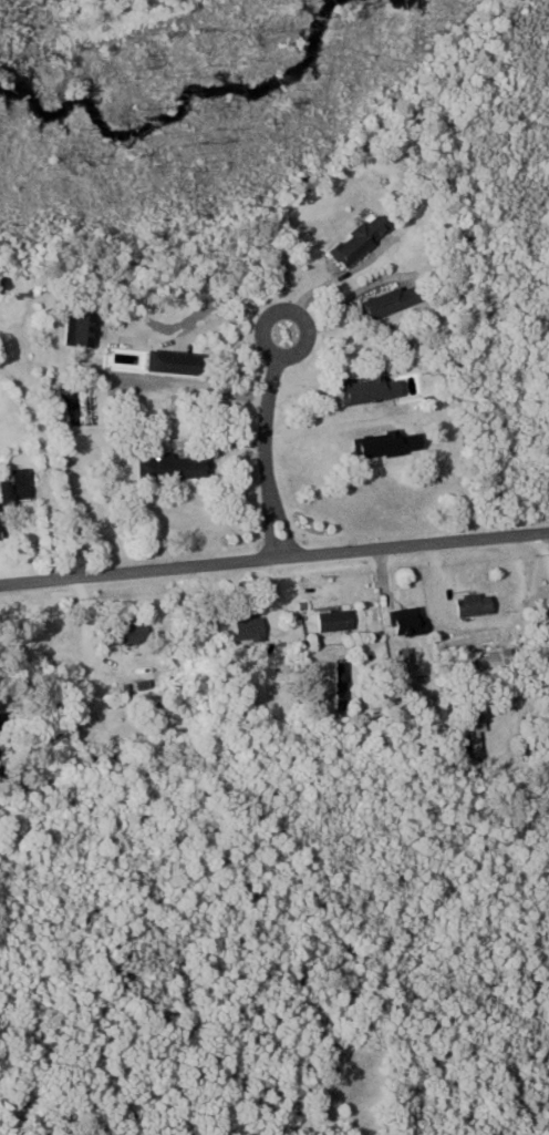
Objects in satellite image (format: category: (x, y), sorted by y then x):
building: (365, 236)
road: (341, 275)
road: (348, 297)
building: (400, 297)
road: (291, 308)
road: (209, 324)
building: (183, 361)
road: (335, 425)
road: (265, 432)
road: (55, 462)
building: (194, 466)
road: (273, 511)
building: (3, 528)
road: (273, 558)
building: (473, 602)
building: (342, 618)
building: (414, 618)
building: (253, 625)
building: (133, 631)
building: (348, 694)
road: (514, 696)
building: (467, 730)

